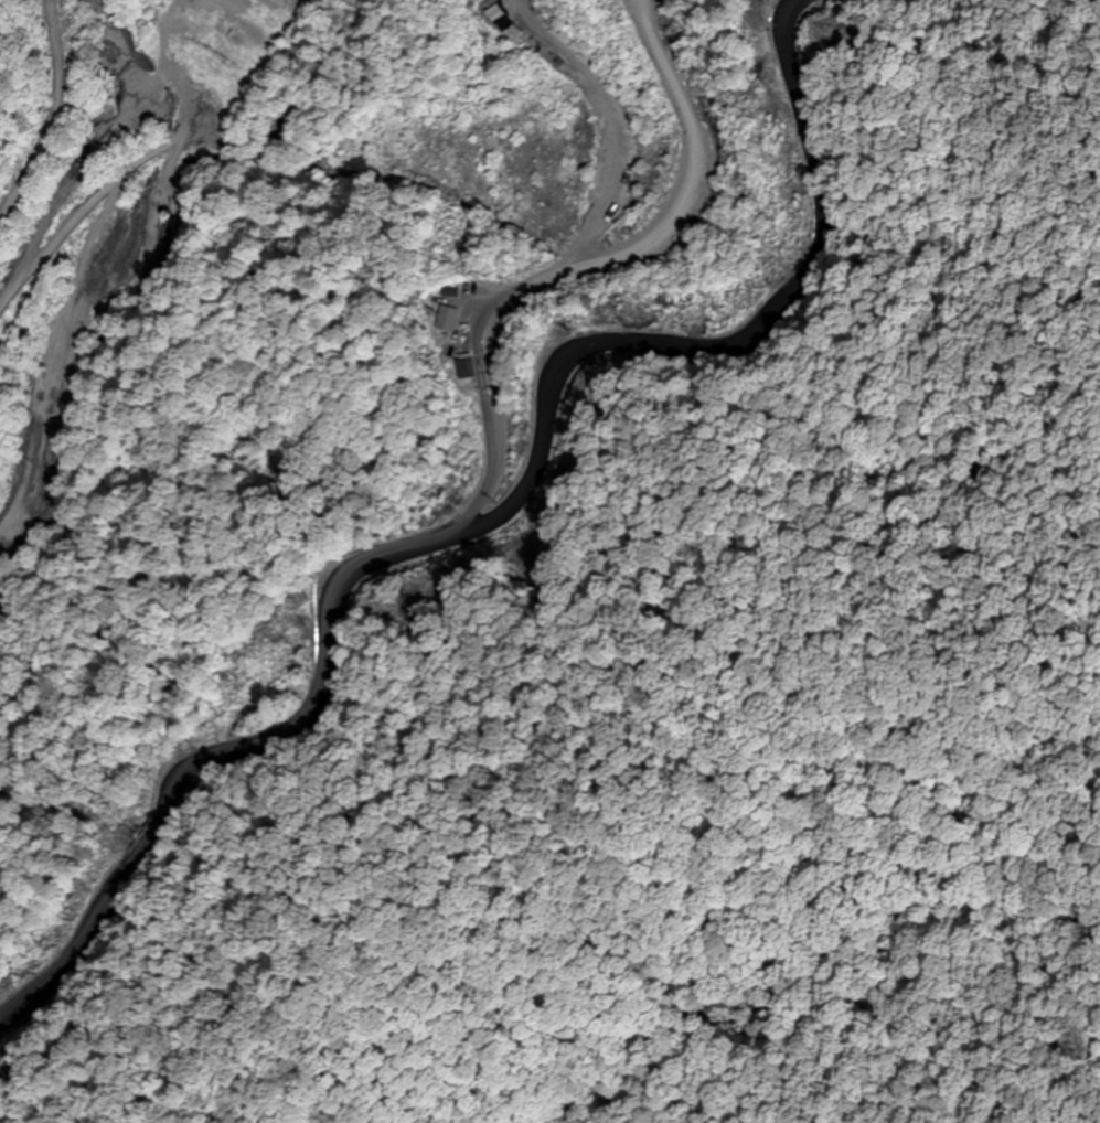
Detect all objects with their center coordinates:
building: (444, 320)
building: (462, 368)
road: (481, 510)

